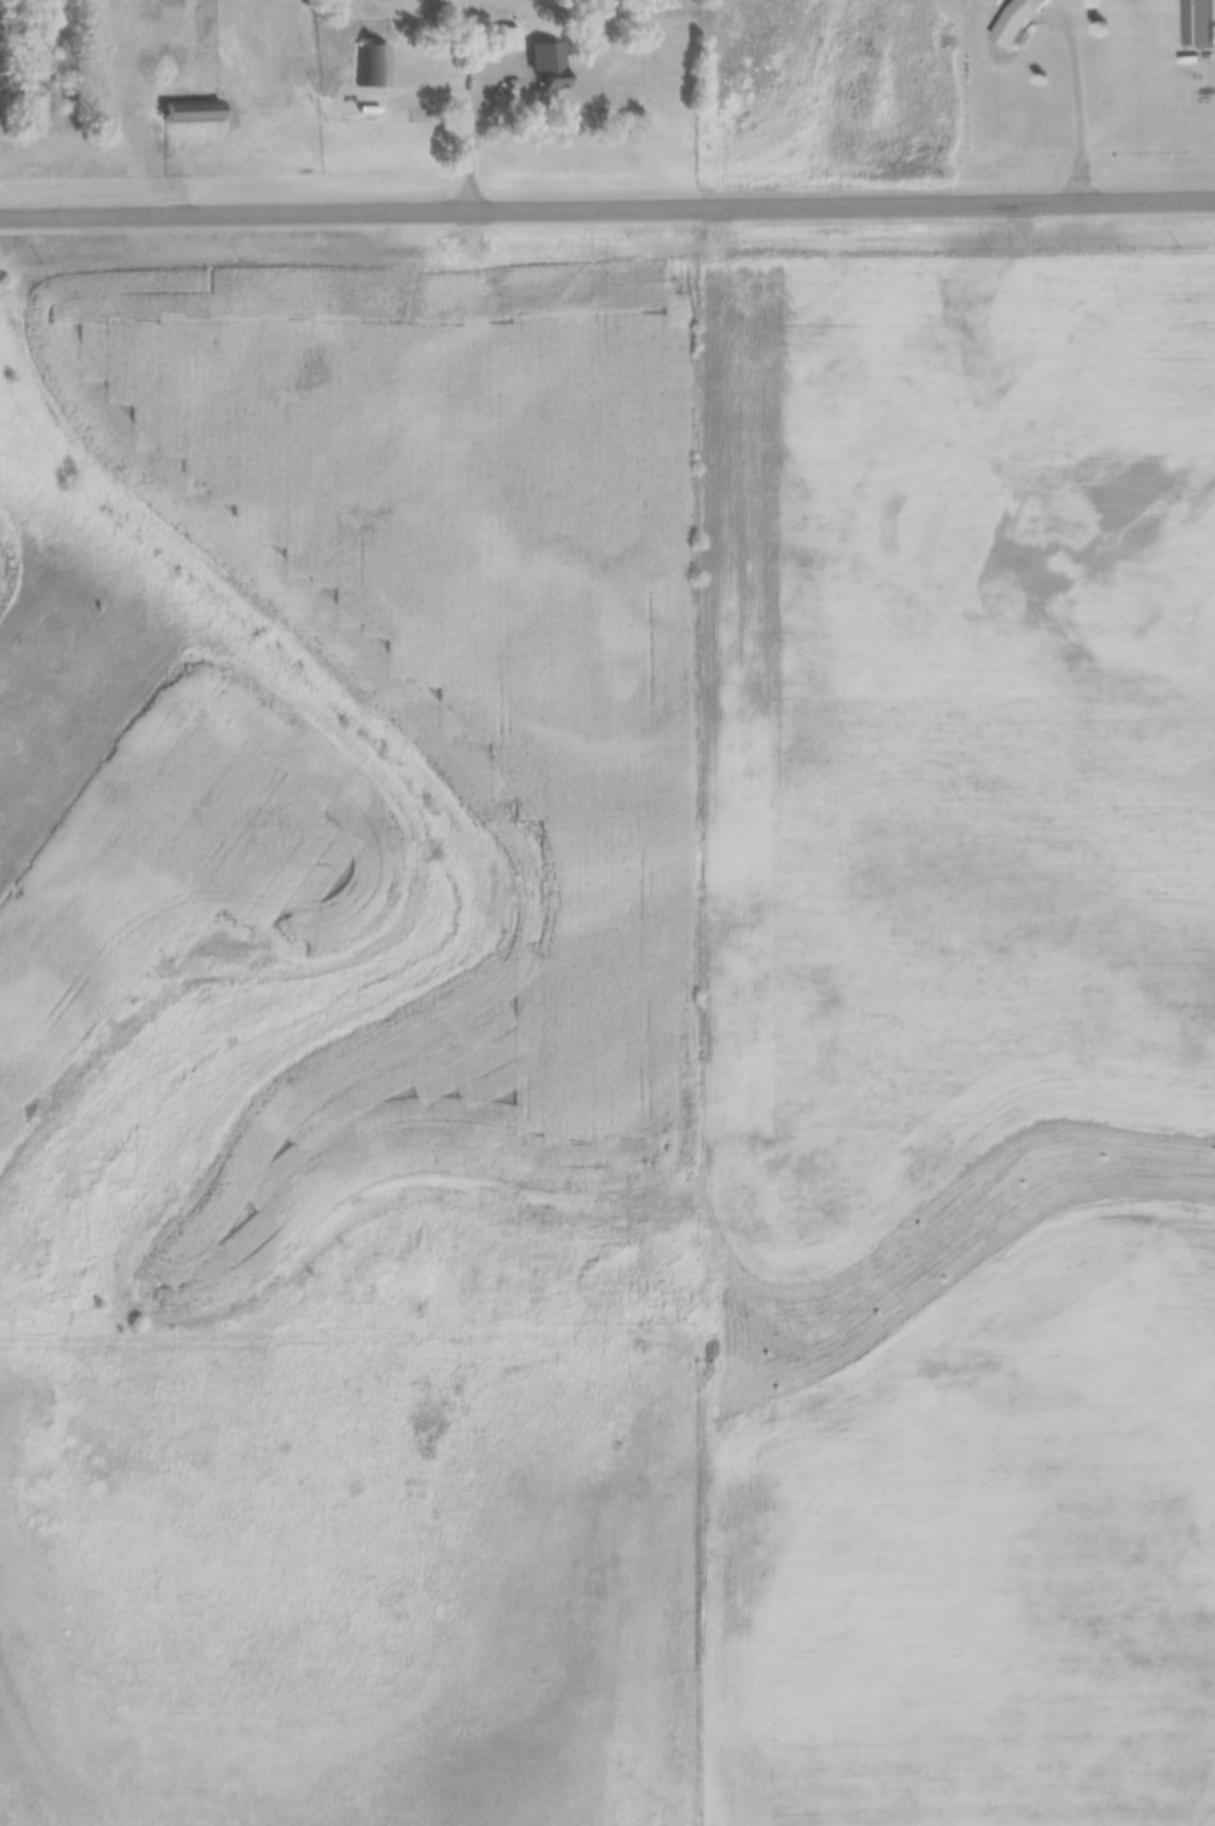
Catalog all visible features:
building: (1017, 20)
building: (1197, 24)
building: (508, 40)
building: (370, 67)
building: (549, 75)
building: (189, 111)
road: (1079, 111)
road: (478, 137)
road: (607, 212)

